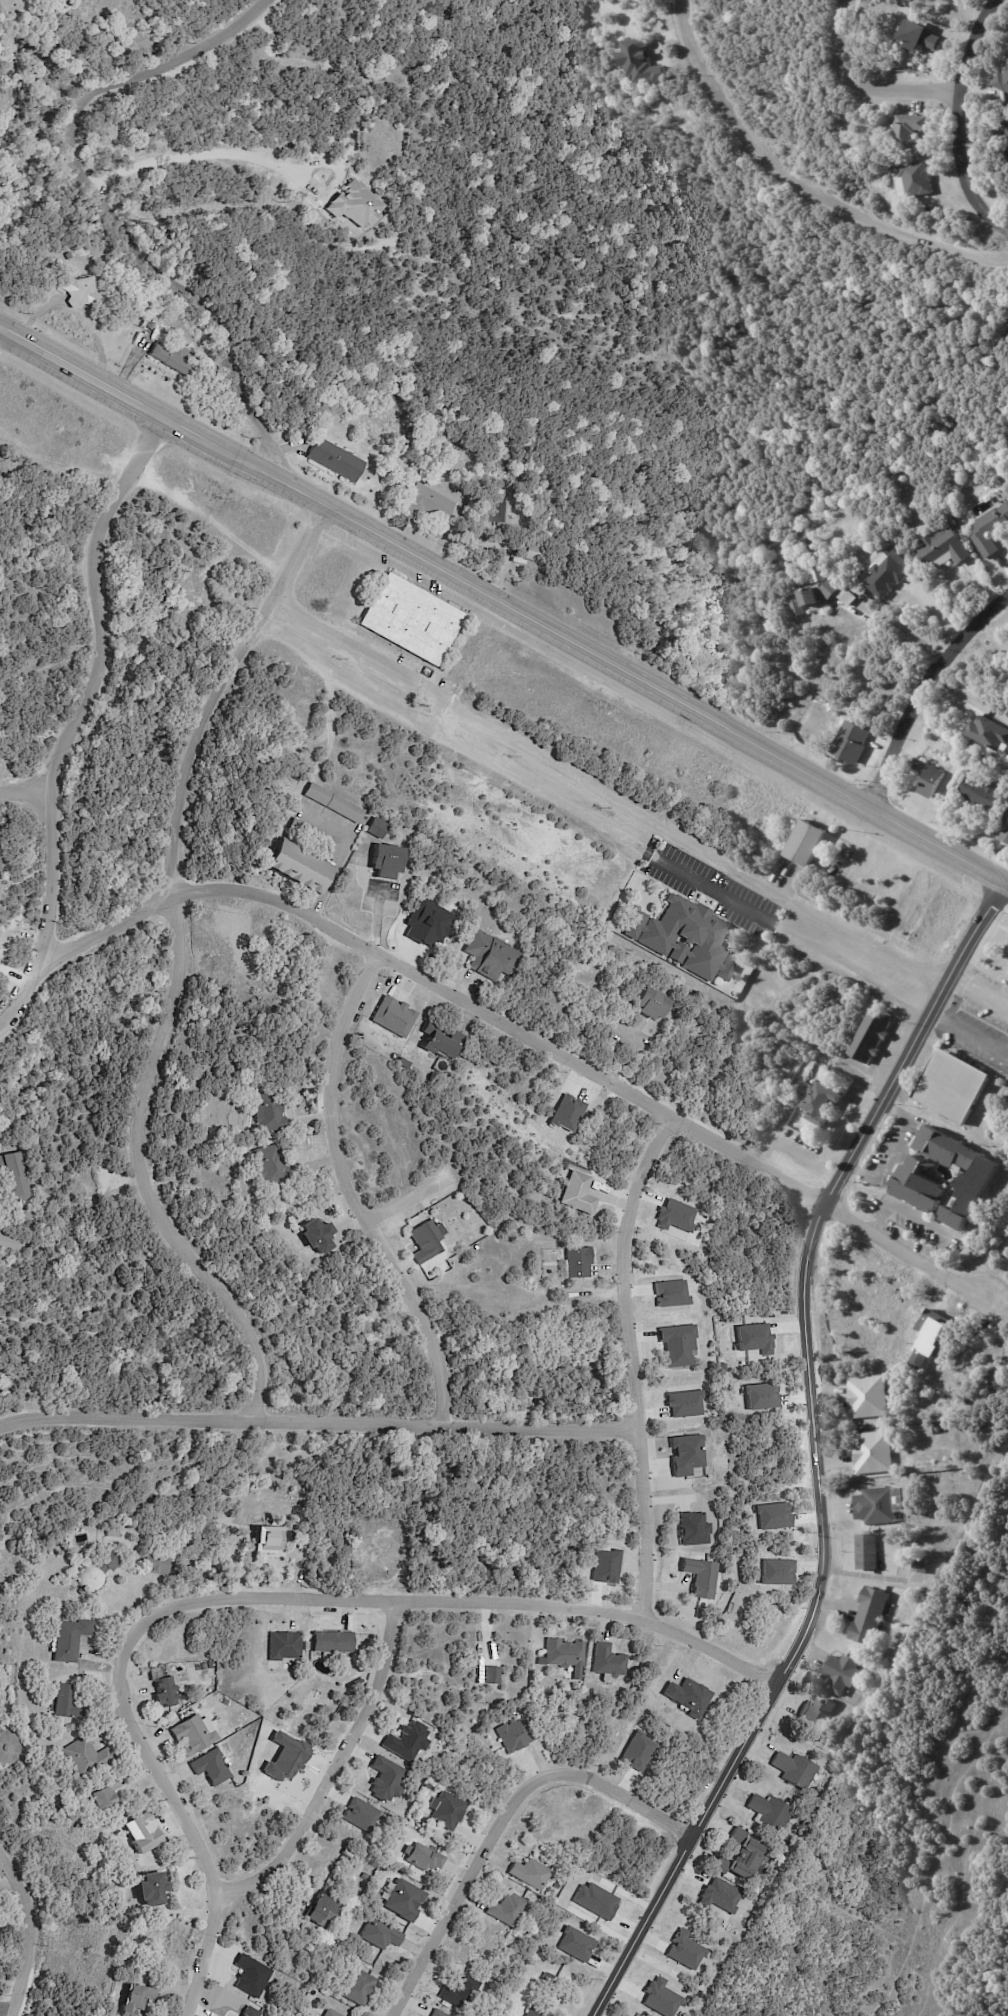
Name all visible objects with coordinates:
building: (923, 35)
building: (641, 61)
building: (1007, 70)
building: (1003, 81)
road: (865, 85)
road: (963, 118)
building: (911, 129)
building: (1004, 130)
road: (195, 154)
building: (921, 178)
road: (801, 182)
building: (355, 204)
road: (104, 210)
building: (80, 292)
building: (151, 326)
building: (171, 358)
building: (335, 461)
building: (431, 503)
building: (503, 511)
building: (993, 532)
building: (947, 549)
building: (535, 553)
building: (887, 577)
building: (823, 595)
road: (500, 596)
building: (850, 598)
building: (800, 609)
road: (87, 618)
building: (412, 621)
road: (913, 634)
road: (935, 696)
building: (989, 733)
building: (851, 741)
building: (932, 779)
road: (599, 793)
building: (987, 794)
building: (334, 804)
road: (586, 816)
building: (1007, 817)
building: (378, 830)
building: (1006, 838)
building: (315, 839)
building: (810, 845)
building: (388, 863)
building: (300, 870)
road: (46, 873)
road: (1000, 880)
road: (333, 881)
road: (376, 923)
road: (964, 932)
building: (687, 937)
building: (491, 956)
road: (173, 957)
building: (587, 974)
road: (21, 977)
building: (653, 1003)
road: (966, 1003)
building: (395, 1017)
road: (1001, 1021)
road: (967, 1033)
road: (521, 1037)
building: (873, 1037)
building: (443, 1041)
building: (404, 1063)
building: (804, 1074)
building: (956, 1087)
building: (825, 1103)
building: (269, 1113)
building: (781, 1127)
building: (267, 1135)
road: (893, 1149)
building: (269, 1165)
building: (16, 1178)
building: (917, 1181)
road: (347, 1189)
building: (576, 1192)
road: (394, 1201)
road: (907, 1205)
building: (318, 1236)
building: (428, 1241)
building: (11, 1244)
road: (939, 1244)
building: (578, 1263)
building: (676, 1344)
road: (638, 1358)
building: (760, 1396)
building: (867, 1396)
road: (318, 1411)
building: (873, 1451)
building: (685, 1454)
building: (879, 1504)
road: (823, 1514)
building: (695, 1530)
building: (92, 1535)
building: (65, 1540)
building: (272, 1542)
building: (869, 1550)
building: (156, 1565)
building: (922, 1566)
building: (97, 1573)
building: (702, 1578)
road: (252, 1597)
building: (872, 1615)
building: (70, 1638)
building: (334, 1641)
building: (285, 1645)
building: (566, 1654)
building: (610, 1662)
building: (211, 1665)
building: (204, 1666)
building: (198, 1668)
building: (845, 1671)
building: (490, 1674)
building: (330, 1675)
building: (165, 1692)
building: (691, 1696)
building: (64, 1700)
building: (225, 1702)
building: (819, 1717)
building: (195, 1734)
building: (517, 1734)
building: (406, 1740)
building: (8, 1746)
building: (87, 1758)
building: (211, 1767)
road: (318, 1769)
building: (796, 1769)
building: (385, 1778)
building: (426, 1787)
building: (104, 1791)
road: (493, 1808)
building: (448, 1811)
building: (772, 1812)
building: (359, 1815)
building: (142, 1832)
building: (350, 1853)
building: (744, 1855)
building: (426, 1857)
building: (531, 1873)
building: (367, 1877)
building: (153, 1889)
building: (403, 1899)
building: (327, 1908)
building: (508, 1909)
building: (534, 1924)
road: (25, 1929)
building: (381, 1935)
building: (575, 1944)
building: (250, 1976)
building: (554, 1978)
building: (359, 1987)
building: (461, 1992)
building: (139, 2001)
road: (4, 2005)
building: (331, 2013)
building: (439, 2013)
building: (535, 2013)
building: (320, 2015)

